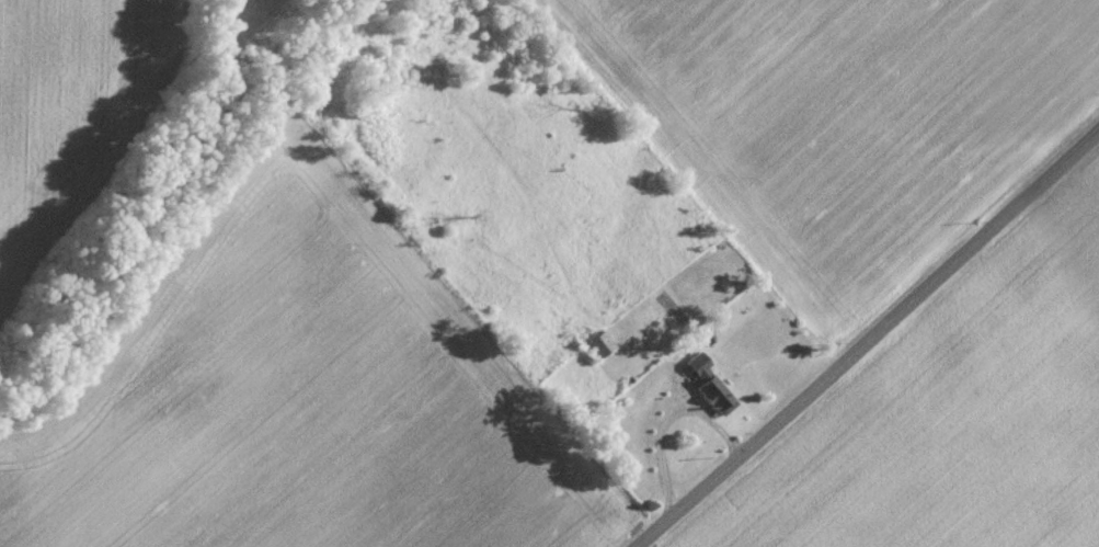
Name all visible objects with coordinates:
road: (870, 339)
building: (604, 343)
building: (712, 384)

